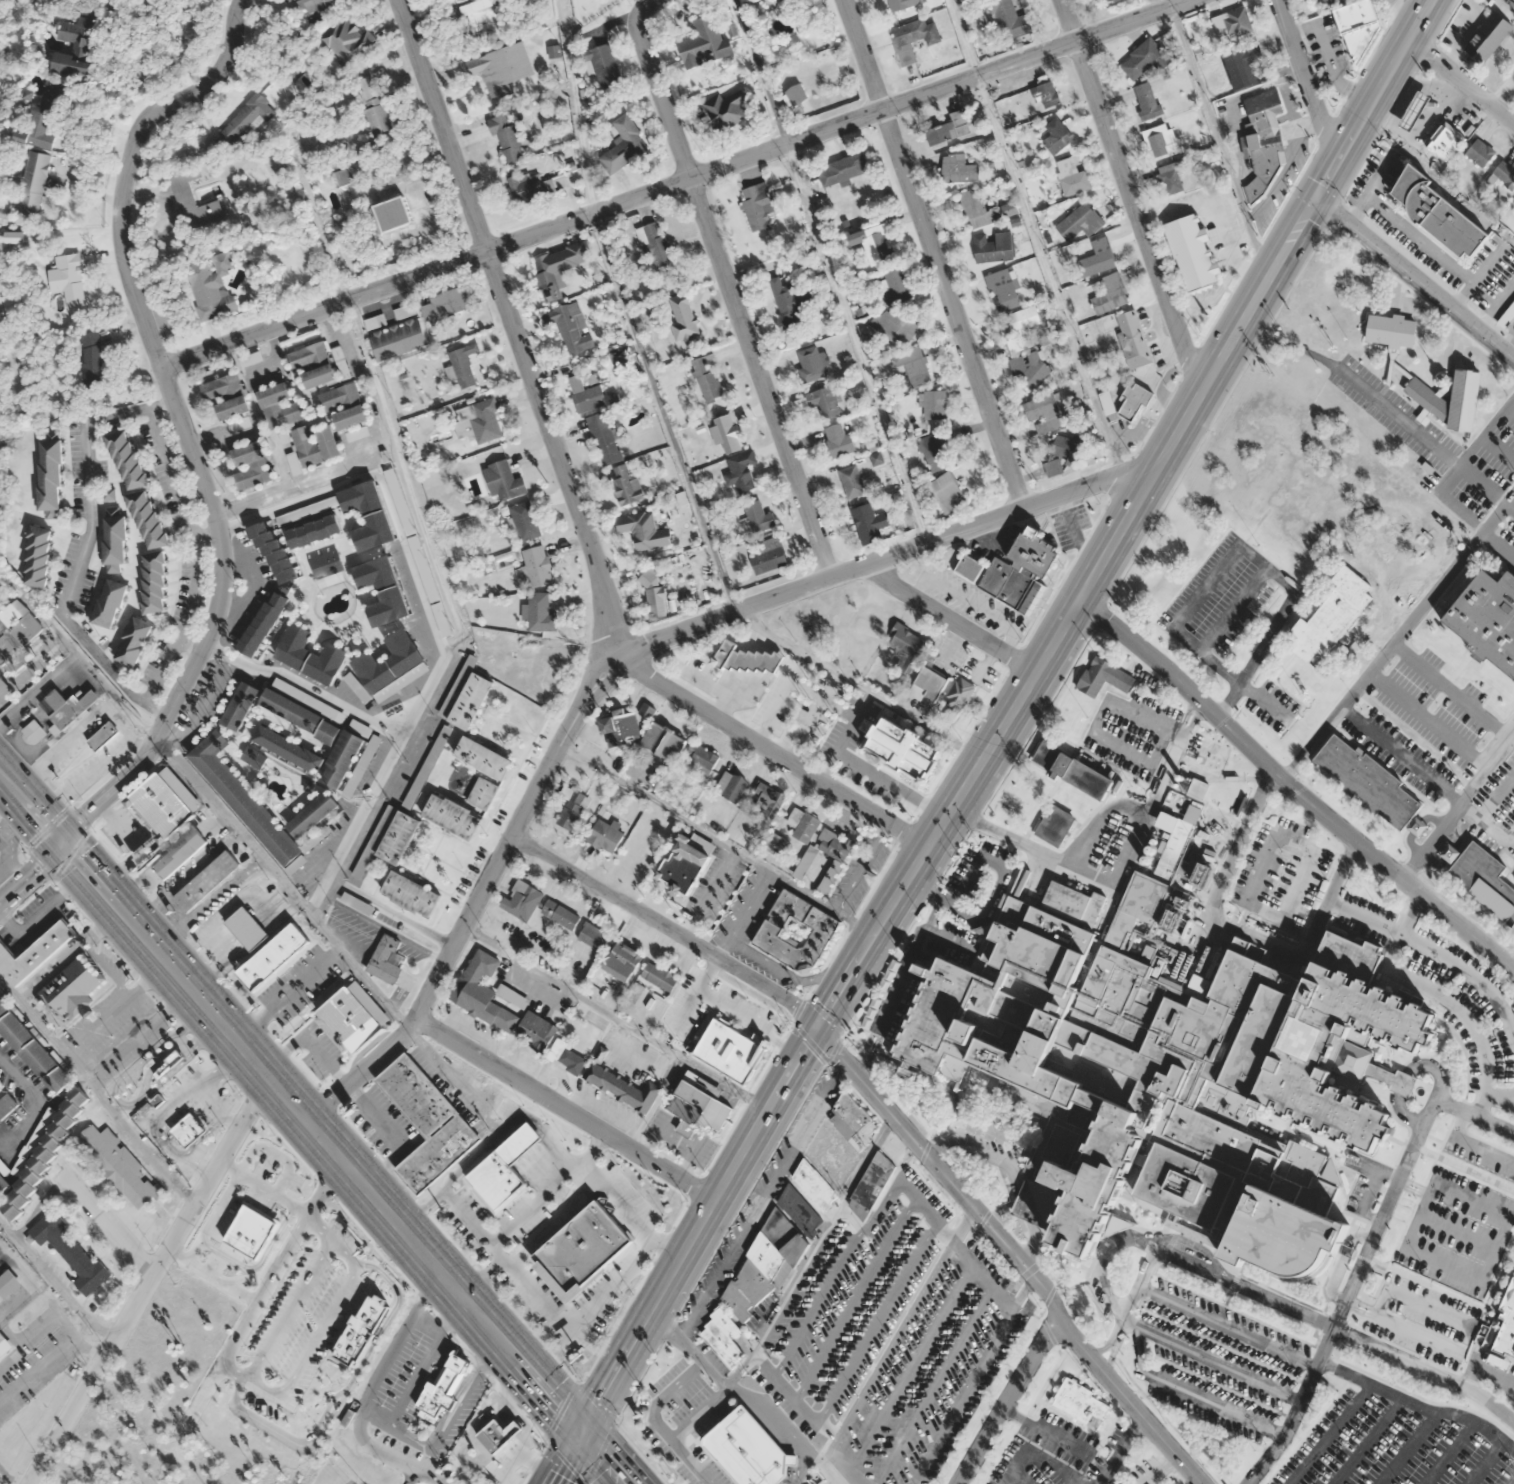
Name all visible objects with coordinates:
building: (1326, 0)
building: (1107, 1)
road: (1512, 1)
road: (643, 3)
building: (901, 4)
building: (317, 5)
road: (1402, 15)
building: (484, 20)
building: (1010, 20)
building: (1476, 21)
building: (1231, 23)
building: (1359, 25)
road: (1464, 33)
building: (913, 38)
building: (347, 40)
building: (704, 43)
building: (76, 46)
building: (1144, 58)
building: (604, 65)
building: (1242, 66)
building: (500, 68)
building: (1512, 74)
road: (1305, 76)
building: (809, 80)
road: (1461, 81)
building: (1047, 94)
road: (1376, 95)
building: (1147, 99)
building: (372, 106)
building: (726, 109)
building: (1415, 110)
building: (42, 115)
building: (245, 119)
building: (949, 128)
building: (1057, 135)
building: (507, 138)
building: (1161, 139)
road: (1219, 140)
building: (1444, 142)
building: (623, 144)
building: (1265, 144)
building: (1479, 152)
building: (843, 168)
building: (958, 169)
building: (1505, 173)
building: (345, 176)
building: (1072, 176)
building: (1172, 176)
road: (671, 181)
road: (1374, 181)
road: (1438, 181)
building: (33, 182)
building: (530, 186)
traffic signals: (1320, 192)
road: (1132, 194)
building: (756, 204)
building: (196, 207)
building: (1009, 208)
building: (978, 210)
building: (394, 214)
building: (1438, 214)
building: (1079, 221)
road: (1034, 236)
road: (1420, 237)
building: (655, 241)
building: (873, 243)
building: (993, 247)
building: (1192, 251)
road: (933, 253)
building: (1099, 255)
road: (830, 270)
road: (1480, 271)
building: (550, 273)
road: (1417, 273)
building: (71, 280)
building: (209, 288)
building: (1003, 289)
road: (730, 292)
building: (1111, 293)
building: (791, 298)
building: (446, 304)
road: (1497, 307)
building: (894, 309)
building: (683, 316)
building: (570, 327)
building: (1021, 327)
building: (1390, 330)
building: (398, 339)
building: (1133, 339)
building: (308, 355)
building: (91, 359)
building: (341, 362)
building: (464, 364)
building: (811, 364)
building: (913, 364)
building: (1031, 368)
building: (319, 376)
building: (707, 379)
building: (221, 387)
building: (585, 394)
building: (339, 397)
building: (1426, 397)
building: (1134, 401)
road: (160, 402)
building: (824, 402)
building: (1106, 402)
building: (933, 404)
building: (280, 405)
building: (232, 407)
building: (1043, 412)
building: (351, 417)
building: (478, 420)
road: (180, 421)
road: (156, 431)
building: (727, 432)
building: (603, 437)
building: (839, 440)
building: (314, 444)
road: (673, 447)
building: (934, 451)
building: (1065, 453)
building: (126, 460)
building: (252, 465)
building: (740, 473)
building: (50, 474)
building: (504, 481)
building: (851, 481)
building: (625, 484)
building: (947, 492)
road: (1010, 511)
building: (403, 512)
building: (368, 515)
building: (758, 516)
building: (147, 519)
building: (525, 520)
building: (869, 522)
building: (644, 530)
building: (314, 531)
road: (204, 535)
building: (114, 539)
building: (415, 547)
road: (429, 549)
building: (273, 553)
building: (37, 556)
building: (768, 559)
building: (326, 564)
building: (537, 566)
building: (969, 568)
building: (1022, 572)
building: (153, 582)
building: (382, 590)
road: (603, 595)
building: (655, 596)
building: (109, 603)
road: (938, 606)
building: (541, 612)
road: (723, 613)
road: (1074, 613)
building: (1330, 615)
building: (1487, 619)
building: (263, 624)
road: (1399, 632)
building: (16, 636)
building: (133, 642)
building: (906, 646)
building: (310, 655)
building: (742, 657)
road: (32, 665)
building: (390, 666)
road: (111, 669)
building: (1104, 677)
building: (927, 685)
building: (465, 700)
building: (954, 701)
building: (240, 706)
building: (67, 707)
building: (300, 716)
road: (1097, 727)
building: (619, 728)
building: (34, 731)
building: (103, 735)
building: (662, 741)
building: (286, 749)
building: (903, 749)
road: (773, 752)
building: (700, 756)
building: (253, 757)
road: (1171, 757)
building: (341, 759)
building: (484, 759)
building: (427, 766)
building: (1072, 771)
building: (1371, 785)
building: (730, 786)
road: (1298, 787)
building: (1198, 789)
building: (482, 793)
building: (165, 802)
building: (246, 802)
building: (765, 802)
road: (1457, 803)
road: (1131, 804)
road: (31, 808)
building: (572, 810)
building: (312, 815)
building: (451, 816)
building: (802, 824)
building: (1055, 825)
road: (238, 831)
building: (605, 836)
road: (715, 837)
building: (316, 838)
building: (389, 838)
road: (1297, 843)
traffic signals: (62, 845)
road: (1031, 847)
building: (1149, 850)
storage tank: (1149, 850)
building: (180, 851)
building: (1144, 861)
storage tank: (1144, 861)
building: (683, 864)
building: (834, 866)
road: (862, 866)
road: (31, 872)
building: (1481, 878)
building: (1513, 878)
building: (205, 881)
building: (410, 894)
road: (995, 894)
building: (521, 900)
building: (357, 903)
road: (933, 913)
road: (1409, 913)
building: (559, 914)
road: (666, 927)
building: (246, 928)
building: (795, 931)
road: (1236, 933)
building: (593, 936)
road: (1434, 949)
building: (34, 952)
building: (385, 959)
road: (1509, 960)
building: (619, 962)
building: (659, 976)
road: (899, 977)
building: (276, 986)
building: (71, 988)
building: (483, 991)
road: (287, 995)
building: (694, 997)
road: (1452, 1006)
building: (352, 1017)
road: (614, 1019)
traffic signals: (817, 1028)
building: (535, 1030)
helipad: (1300, 1033)
building: (743, 1046)
building: (32, 1049)
building: (567, 1056)
building: (1165, 1073)
building: (622, 1086)
road: (199, 1087)
road: (353, 1092)
road: (1499, 1096)
road: (32, 1101)
building: (699, 1103)
building: (6, 1104)
road: (218, 1108)
road: (561, 1109)
building: (427, 1122)
building: (189, 1130)
building: (840, 1139)
road: (1473, 1143)
road: (189, 1150)
parking lot: (1480, 1152)
building: (41, 1154)
road: (473, 1156)
road: (1450, 1161)
road: (865, 1162)
road: (343, 1163)
building: (118, 1164)
road: (197, 1164)
road: (1012, 1170)
building: (506, 1171)
road: (943, 1171)
building: (873, 1180)
building: (813, 1186)
road: (1412, 1187)
road: (1366, 1189)
building: (642, 1197)
road: (614, 1199)
road: (759, 1200)
road: (39, 1206)
road: (1413, 1208)
building: (461, 1214)
road: (468, 1215)
road: (1396, 1215)
road: (984, 1216)
road: (852, 1219)
road: (321, 1225)
road: (109, 1226)
road: (557, 1226)
road: (695, 1228)
road: (1459, 1229)
parking lot: (1456, 1232)
building: (230, 1235)
road: (857, 1241)
building: (584, 1249)
building: (70, 1251)
building: (775, 1251)
building: (336, 1253)
building: (509, 1257)
road: (1103, 1258)
road: (1362, 1258)
road: (1489, 1267)
road: (482, 1279)
building: (8, 1281)
road: (150, 1281)
road: (54, 1283)
road: (527, 1284)
building: (315, 1290)
road: (1023, 1291)
road: (1451, 1294)
road: (259, 1297)
road: (855, 1298)
road: (1276, 1300)
road: (1416, 1302)
parking lot: (845, 1303)
road: (1359, 1306)
road: (290, 1309)
road: (904, 1310)
parking lot: (295, 1311)
parking lot: (1421, 1318)
road: (877, 1322)
building: (1507, 1323)
building: (260, 1326)
road: (1226, 1326)
building: (162, 1328)
building: (358, 1328)
road: (319, 1331)
road: (1416, 1332)
building: (722, 1337)
road: (894, 1339)
road: (994, 1339)
building: (4, 1344)
building: (328, 1356)
road: (760, 1356)
parking lot: (38, 1359)
road: (1211, 1360)
building: (195, 1361)
parking lot: (1216, 1362)
road: (704, 1366)
road: (910, 1367)
road: (1485, 1370)
parking lot: (932, 1371)
road: (233, 1372)
road: (417, 1374)
building: (129, 1384)
road: (934, 1385)
building: (443, 1388)
road: (342, 1391)
road: (371, 1391)
road: (1191, 1393)
building: (172, 1397)
road: (451, 1402)
road: (1011, 1402)
road: (1131, 1402)
building: (1079, 1404)
road: (1416, 1404)
road: (696, 1412)
road: (455, 1413)
building: (321, 1414)
building: (256, 1415)
road: (1164, 1416)
road: (655, 1422)
road: (784, 1430)
traffic signals: (580, 1432)
road: (1048, 1434)
road: (1330, 1434)
building: (500, 1436)
road: (1368, 1441)
parking lot: (1399, 1443)
building: (159, 1444)
road: (1405, 1447)
road: (1119, 1448)
building: (748, 1450)
road: (1447, 1452)
road: (1033, 1453)
building: (211, 1457)
road: (826, 1457)
building: (108, 1458)
road: (565, 1458)
road: (794, 1462)
road: (1484, 1462)
building: (300, 1466)
road: (1160, 1469)
road: (1019, 1475)
road: (410, 1476)
building: (68, 1478)
building: (131, 1478)
building: (242, 1481)

